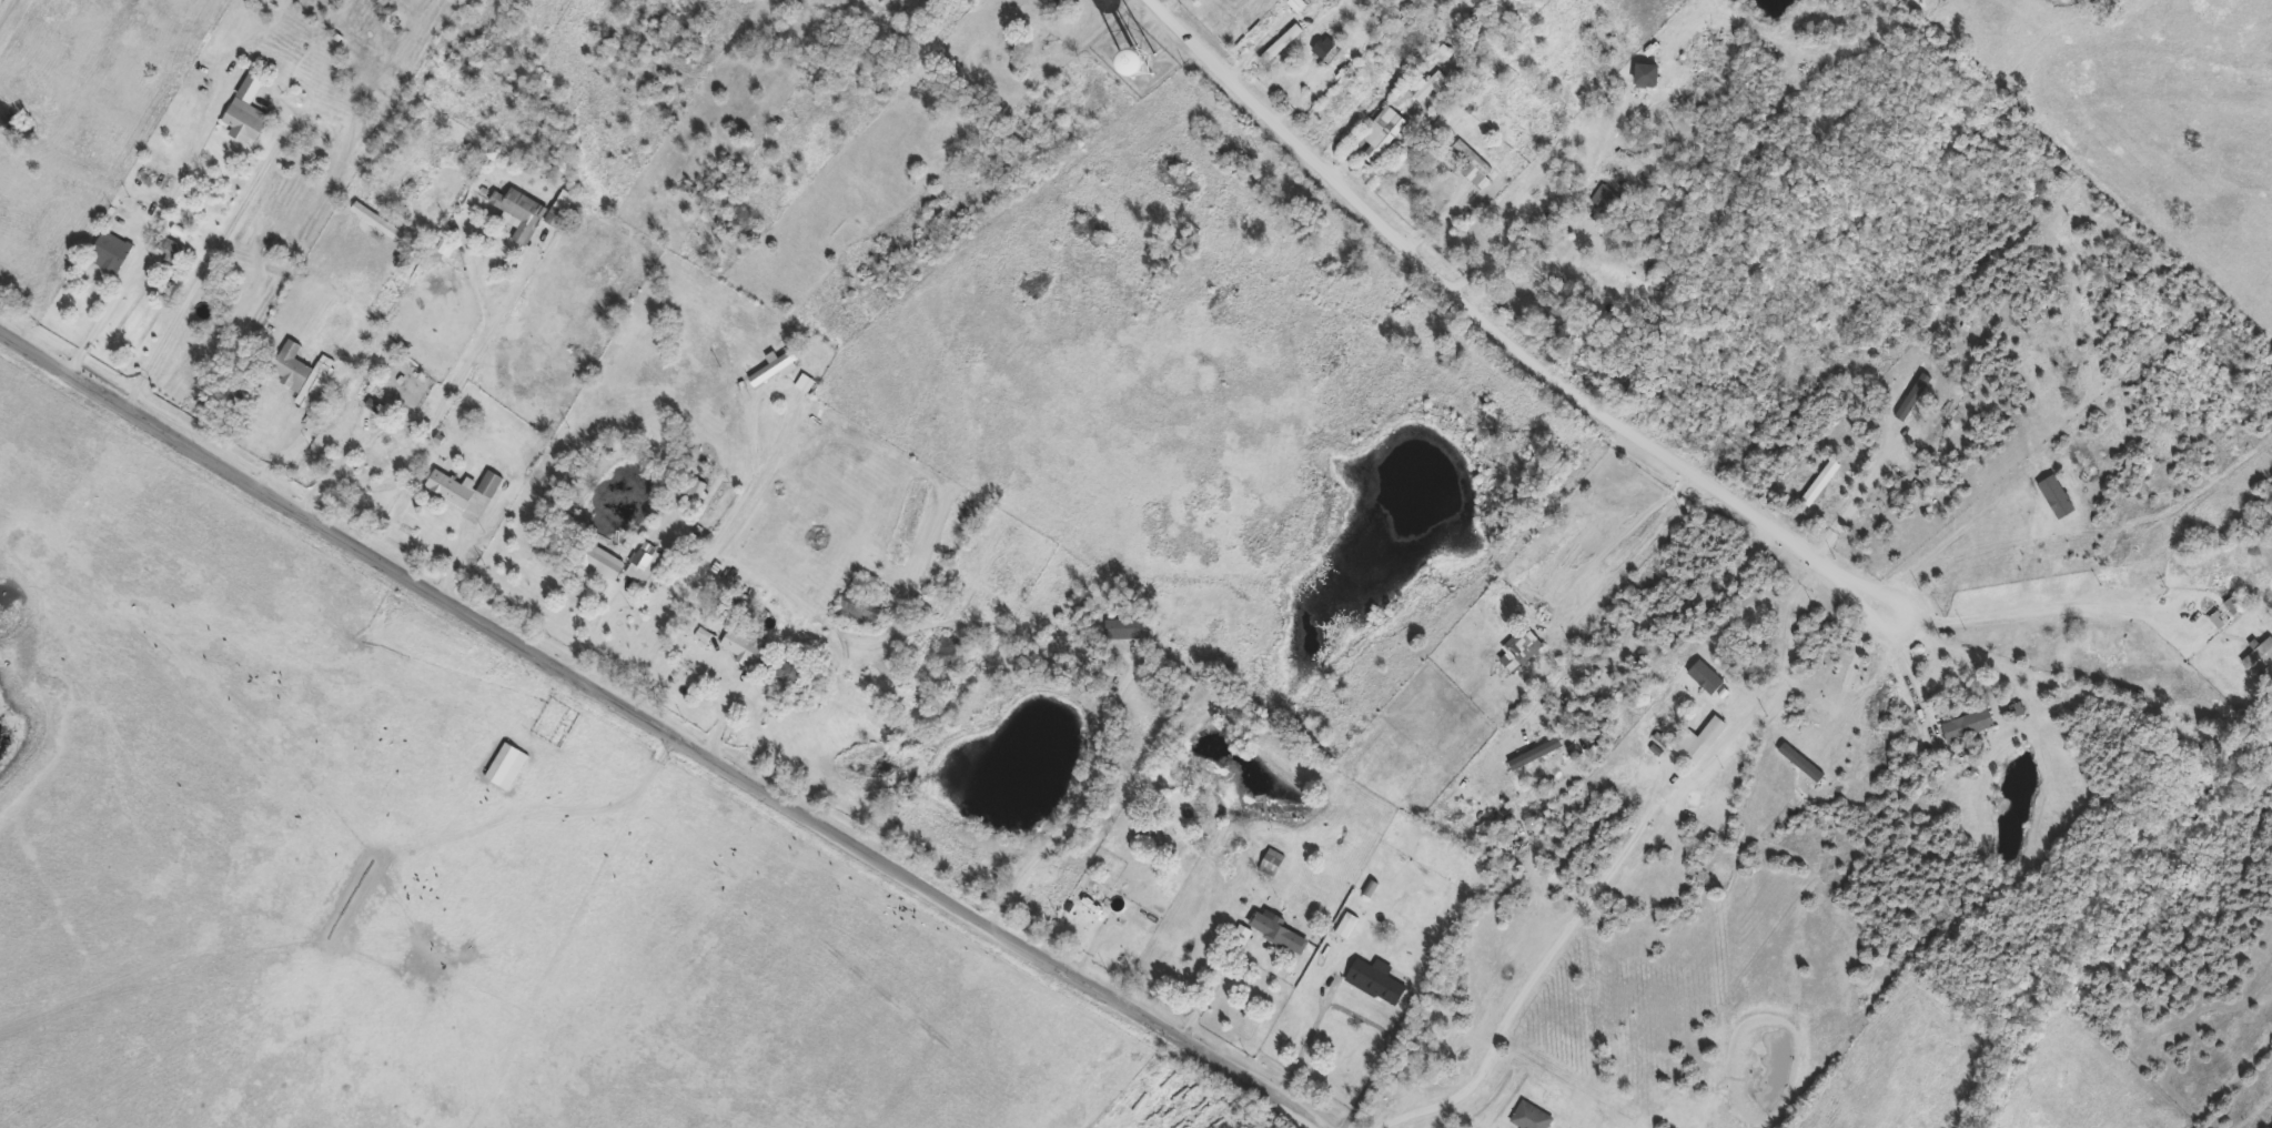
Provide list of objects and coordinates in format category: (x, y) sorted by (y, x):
building: (1297, 6)
road: (9, 14)
building: (1647, 77)
building: (1432, 88)
building: (246, 121)
building: (1384, 134)
building: (1474, 165)
building: (1604, 198)
building: (531, 212)
road: (162, 228)
road: (1514, 229)
building: (170, 251)
building: (111, 253)
building: (1557, 310)
road: (171, 334)
road: (1503, 336)
building: (773, 370)
building: (301, 376)
road: (444, 413)
building: (382, 439)
building: (491, 484)
building: (689, 485)
building: (456, 493)
road: (1857, 502)
road: (739, 515)
road: (1633, 556)
building: (622, 562)
building: (729, 606)
building: (2231, 608)
road: (2044, 610)
building: (861, 612)
building: (1124, 630)
building: (691, 646)
building: (1521, 653)
building: (951, 656)
building: (2258, 659)
building: (777, 673)
road: (1921, 679)
building: (1969, 727)
road: (659, 728)
building: (1706, 742)
building: (506, 767)
road: (1085, 803)
road: (1619, 858)
building: (1275, 864)
building: (1349, 928)
building: (1273, 934)
building: (1376, 983)
road: (1214, 994)
road: (1312, 1043)
road: (1392, 1049)
building: (1532, 1118)

